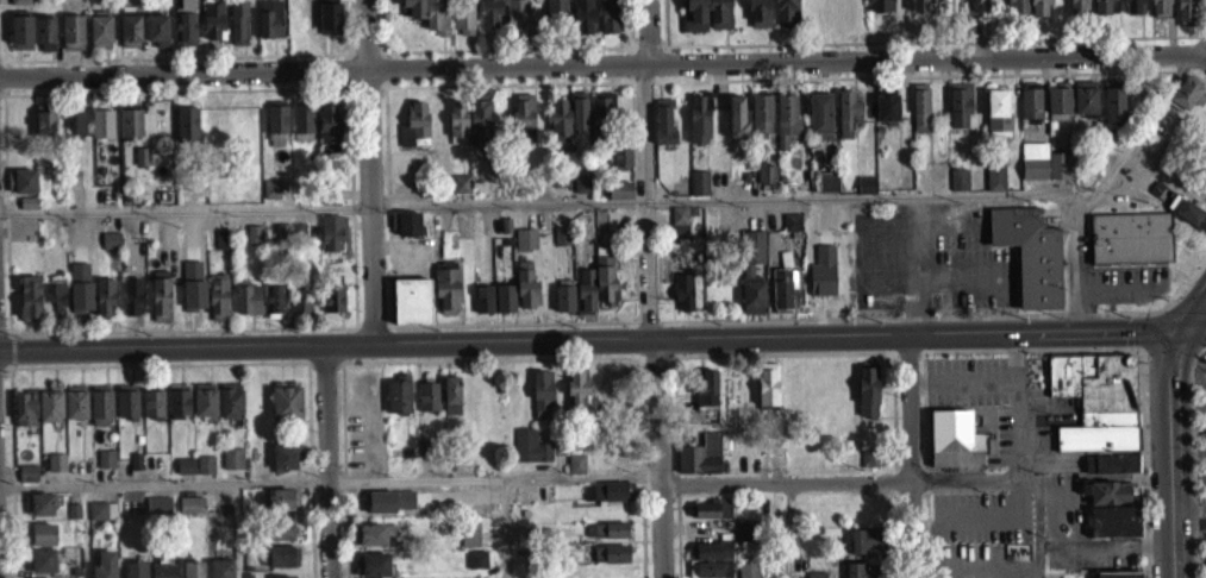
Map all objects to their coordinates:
building: (20, 6)
building: (415, 8)
building: (924, 10)
building: (881, 11)
building: (1016, 11)
building: (1038, 11)
building: (1102, 11)
building: (1133, 11)
building: (1077, 12)
building: (1158, 12)
building: (586, 15)
building: (1186, 15)
building: (520, 17)
building: (786, 17)
building: (489, 18)
building: (556, 18)
building: (718, 18)
building: (758, 18)
building: (214, 19)
building: (693, 19)
building: (608, 20)
building: (187, 23)
building: (240, 23)
building: (463, 23)
road: (349, 25)
road: (383, 25)
road: (974, 26)
building: (269, 27)
building: (158, 29)
road: (2, 30)
building: (131, 30)
building: (46, 31)
building: (74, 31)
building: (101, 31)
road: (642, 31)
building: (20, 40)
road: (1198, 43)
road: (367, 48)
road: (502, 48)
road: (1, 56)
road: (176, 56)
road: (605, 63)
road: (389, 68)
road: (346, 69)
road: (7, 77)
road: (507, 83)
road: (177, 89)
road: (368, 89)
road: (2, 93)
building: (1186, 103)
building: (1058, 107)
building: (1083, 108)
building: (581, 111)
building: (1030, 111)
building: (958, 112)
building: (886, 114)
building: (1113, 114)
building: (919, 115)
building: (601, 118)
building: (562, 120)
building: (761, 121)
building: (846, 121)
building: (998, 122)
building: (819, 125)
building: (737, 126)
building: (521, 127)
building: (699, 127)
building: (786, 128)
building: (44, 130)
building: (302, 130)
building: (130, 131)
building: (457, 131)
building: (479, 131)
building: (101, 132)
building: (186, 132)
building: (275, 132)
building: (73, 133)
building: (414, 133)
building: (327, 136)
building: (620, 164)
road: (369, 171)
building: (1044, 171)
building: (766, 181)
road: (1101, 181)
building: (994, 183)
building: (958, 188)
building: (24, 189)
building: (826, 190)
building: (698, 191)
building: (461, 193)
building: (866, 193)
road: (866, 195)
building: (270, 197)
building: (619, 199)
road: (646, 199)
road: (323, 205)
road: (354, 206)
road: (390, 206)
road: (8, 213)
building: (1188, 221)
building: (408, 222)
road: (960, 224)
building: (679, 226)
building: (791, 231)
building: (405, 233)
building: (1131, 235)
building: (289, 240)
building: (331, 241)
building: (561, 245)
building: (524, 247)
building: (110, 249)
building: (220, 249)
building: (1031, 252)
building: (752, 256)
road: (916, 262)
building: (605, 290)
building: (525, 295)
building: (31, 297)
building: (305, 299)
building: (446, 299)
building: (785, 299)
building: (585, 300)
building: (682, 301)
building: (217, 303)
building: (131, 304)
building: (160, 304)
building: (563, 304)
building: (751, 304)
building: (104, 306)
building: (332, 307)
building: (504, 307)
building: (246, 308)
building: (274, 308)
building: (482, 308)
building: (411, 309)
building: (301, 310)
road: (1196, 310)
road: (374, 320)
road: (512, 322)
traffic signals: (1187, 326)
road: (5, 328)
road: (183, 329)
road: (602, 337)
road: (348, 344)
road: (13, 350)
road: (488, 358)
road: (160, 364)
road: (326, 364)
road: (4, 367)
road: (963, 381)
building: (1098, 385)
building: (543, 391)
building: (576, 395)
building: (181, 398)
building: (450, 398)
building: (706, 398)
building: (207, 400)
building: (232, 400)
building: (610, 400)
building: (867, 400)
building: (77, 402)
road: (1017, 402)
building: (52, 403)
building: (426, 404)
building: (398, 406)
building: (285, 409)
building: (125, 410)
building: (151, 411)
building: (100, 414)
building: (24, 417)
building: (451, 417)
building: (532, 444)
building: (954, 448)
road: (1169, 450)
road: (911, 452)
building: (235, 457)
road: (661, 457)
road: (326, 460)
building: (58, 461)
building: (208, 463)
building: (868, 463)
building: (188, 464)
building: (699, 464)
building: (283, 466)
building: (105, 467)
building: (232, 467)
road: (345, 469)
road: (311, 470)
road: (13, 471)
building: (55, 471)
building: (576, 472)
building: (612, 472)
building: (1110, 472)
building: (205, 473)
building: (185, 475)
road: (850, 479)
building: (26, 482)
road: (312, 482)
building: (1106, 501)
building: (42, 504)
building: (281, 508)
road: (1188, 509)
building: (75, 510)
building: (157, 514)
building: (190, 515)
building: (711, 517)
building: (96, 520)
road: (507, 528)
building: (1113, 529)
road: (87, 532)
building: (280, 538)
building: (605, 539)
building: (469, 541)
building: (42, 544)
building: (368, 544)
building: (864, 548)
building: (42, 561)
building: (614, 563)
building: (710, 564)
building: (282, 565)
building: (374, 565)
building: (476, 567)
building: (104, 568)
building: (220, 572)
building: (132, 573)
building: (192, 573)
building: (162, 574)
building: (748, 574)
building: (862, 574)

